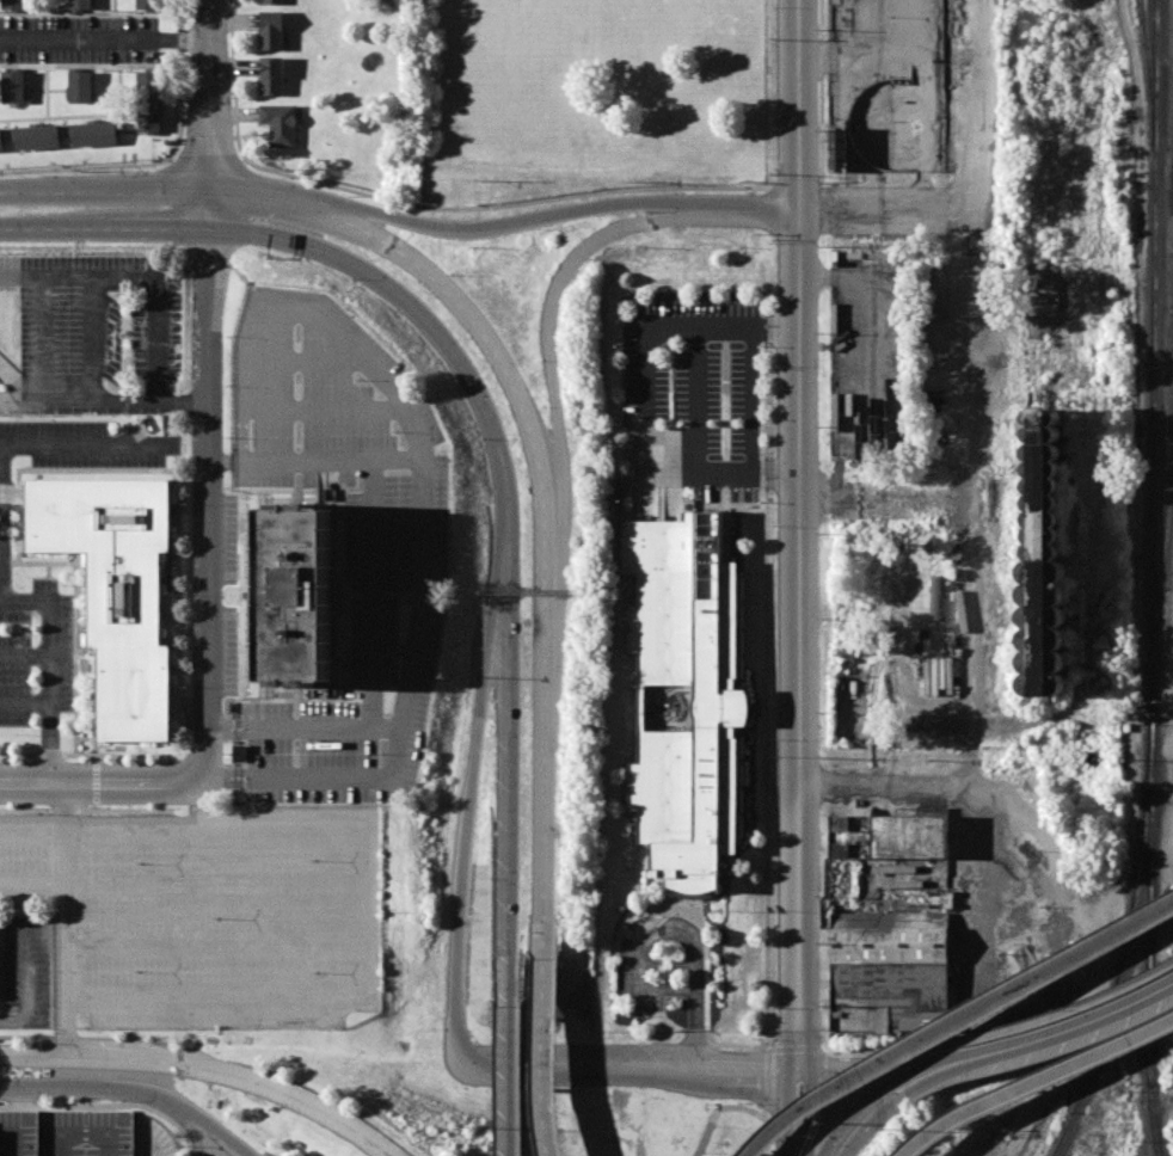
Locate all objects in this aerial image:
building: (274, 1)
building: (16, 5)
building: (80, 5)
building: (151, 5)
building: (272, 30)
parking lot: (79, 38)
road: (105, 39)
railway: (1150, 70)
building: (274, 75)
building: (79, 86)
building: (13, 87)
road: (211, 94)
building: (149, 99)
road: (802, 103)
building: (280, 124)
building: (1, 134)
building: (94, 134)
building: (37, 137)
building: (0, 141)
building: (839, 147)
road: (106, 190)
road: (270, 199)
road: (885, 205)
road: (211, 209)
road: (564, 215)
road: (105, 230)
road: (88, 247)
road: (22, 276)
road: (395, 293)
road: (42, 307)
road: (744, 325)
parking lot: (99, 332)
road: (689, 336)
road: (94, 339)
railway: (1153, 353)
road: (751, 400)
parking lot: (340, 431)
road: (84, 447)
road: (317, 461)
road: (969, 486)
road: (0, 492)
road: (210, 498)
road: (886, 505)
road: (422, 506)
parking lot: (5, 522)
road: (1, 523)
building: (1043, 527)
road: (543, 537)
road: (0, 554)
railway: (1161, 572)
building: (115, 589)
building: (297, 595)
road: (803, 638)
road: (24, 654)
road: (49, 670)
building: (686, 696)
road: (24, 703)
road: (512, 703)
parking lot: (345, 720)
road: (306, 725)
building: (237, 752)
road: (475, 762)
road: (889, 781)
road: (104, 786)
building: (910, 844)
road: (354, 862)
parking lot: (203, 916)
road: (354, 918)
road: (61, 921)
railway: (1149, 931)
road: (682, 934)
railway: (1129, 937)
road: (1101, 954)
parking lot: (23, 973)
building: (889, 973)
road: (354, 976)
road: (25, 986)
road: (954, 1019)
road: (1092, 1020)
road: (1036, 1023)
road: (853, 1052)
road: (511, 1053)
road: (950, 1053)
road: (542, 1054)
road: (768, 1054)
road: (30, 1057)
road: (948, 1058)
road: (849, 1066)
road: (750, 1072)
road: (951, 1072)
road: (582, 1074)
road: (235, 1076)
road: (1034, 1081)
road: (102, 1089)
road: (109, 1105)
road: (786, 1108)
road: (718, 1109)
road: (815, 1111)
road: (855, 1112)
road: (870, 1125)
road: (86, 1133)
parking lot: (81, 1135)
road: (766, 1135)
road: (13, 1138)
road: (201, 1138)
road: (219, 1138)
building: (999, 1144)

